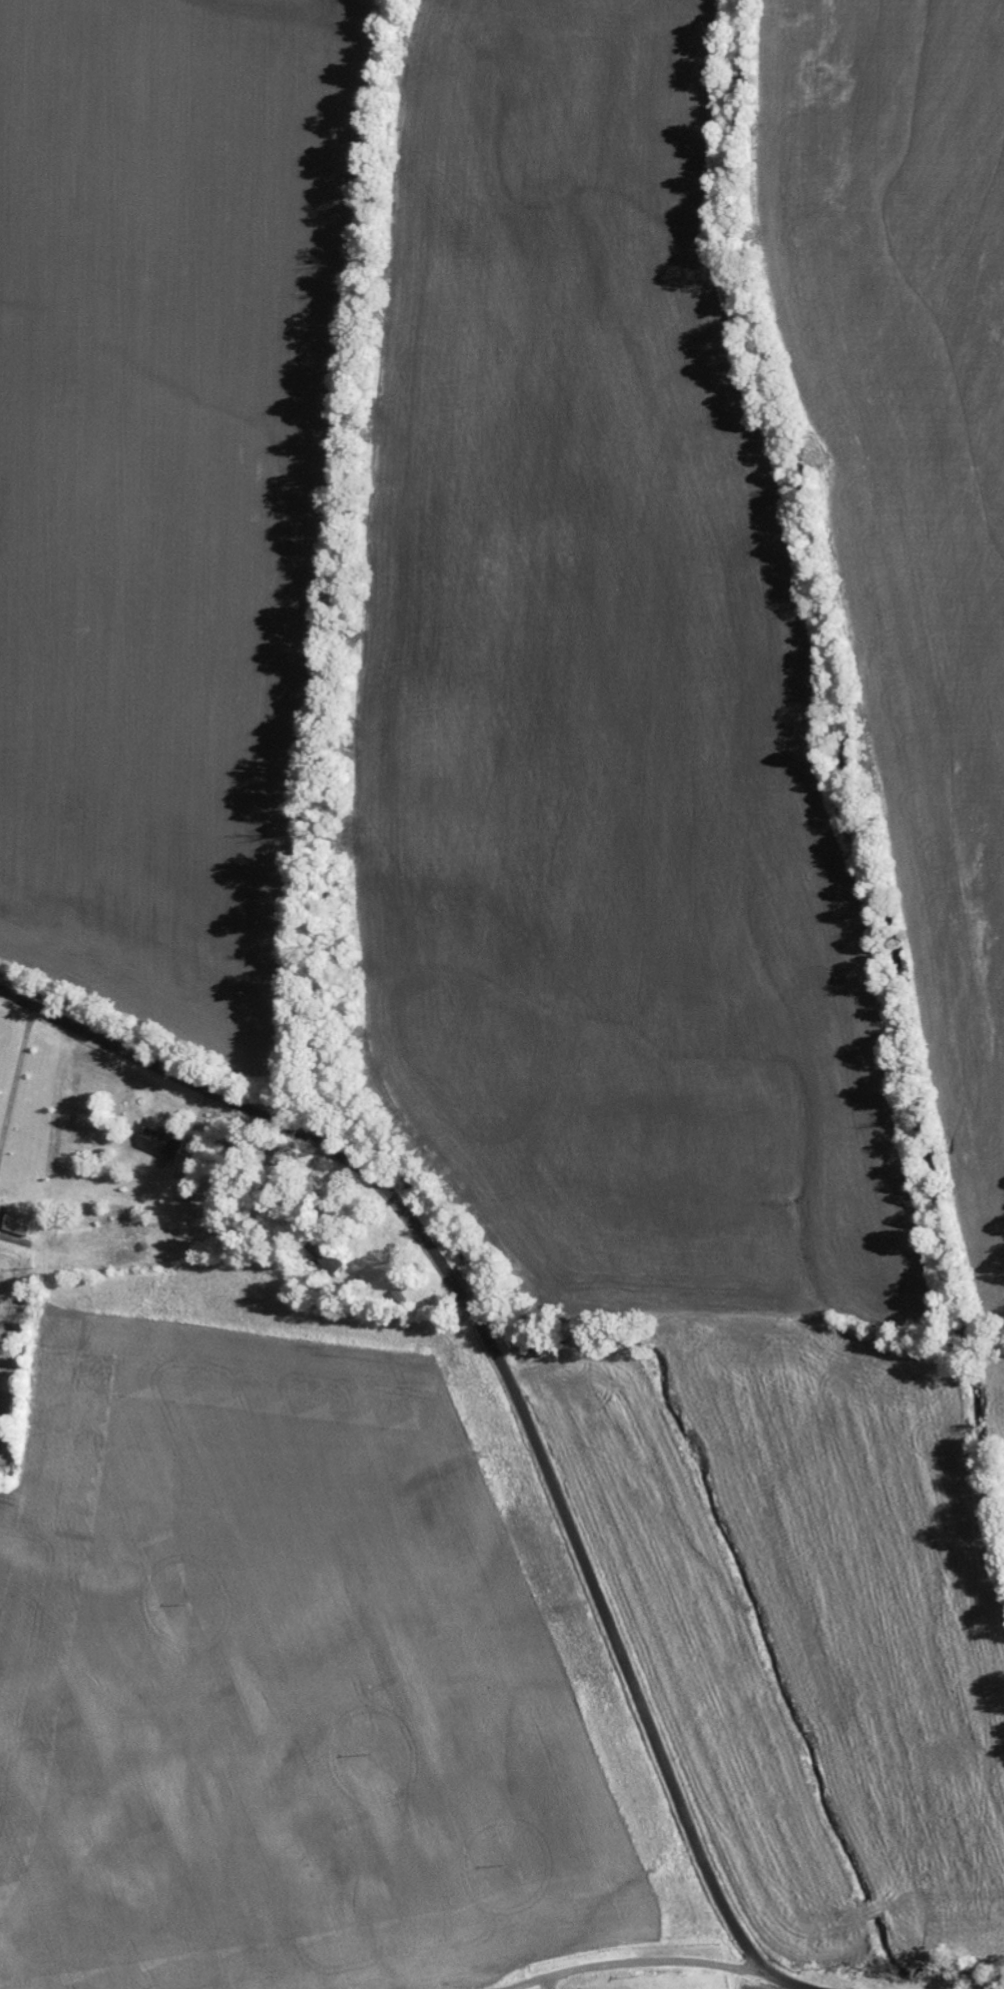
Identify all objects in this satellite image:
building: (167, 1143)
building: (211, 1208)
building: (26, 1224)
road: (516, 1394)
road: (529, 1947)

